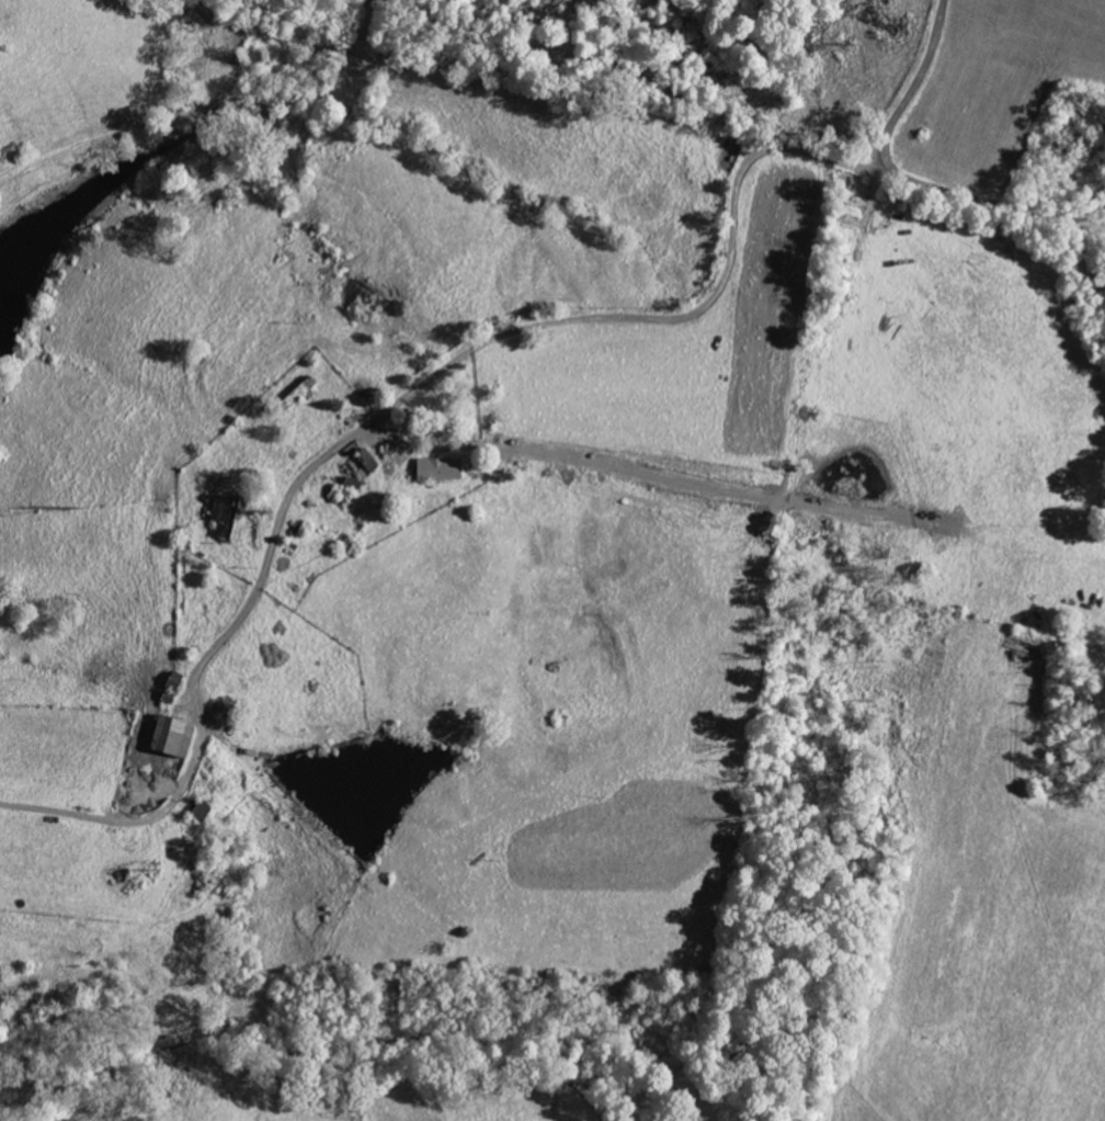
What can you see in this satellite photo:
road: (912, 86)
road: (478, 346)
building: (437, 468)
building: (225, 517)
building: (173, 680)
building: (169, 736)
building: (198, 811)

